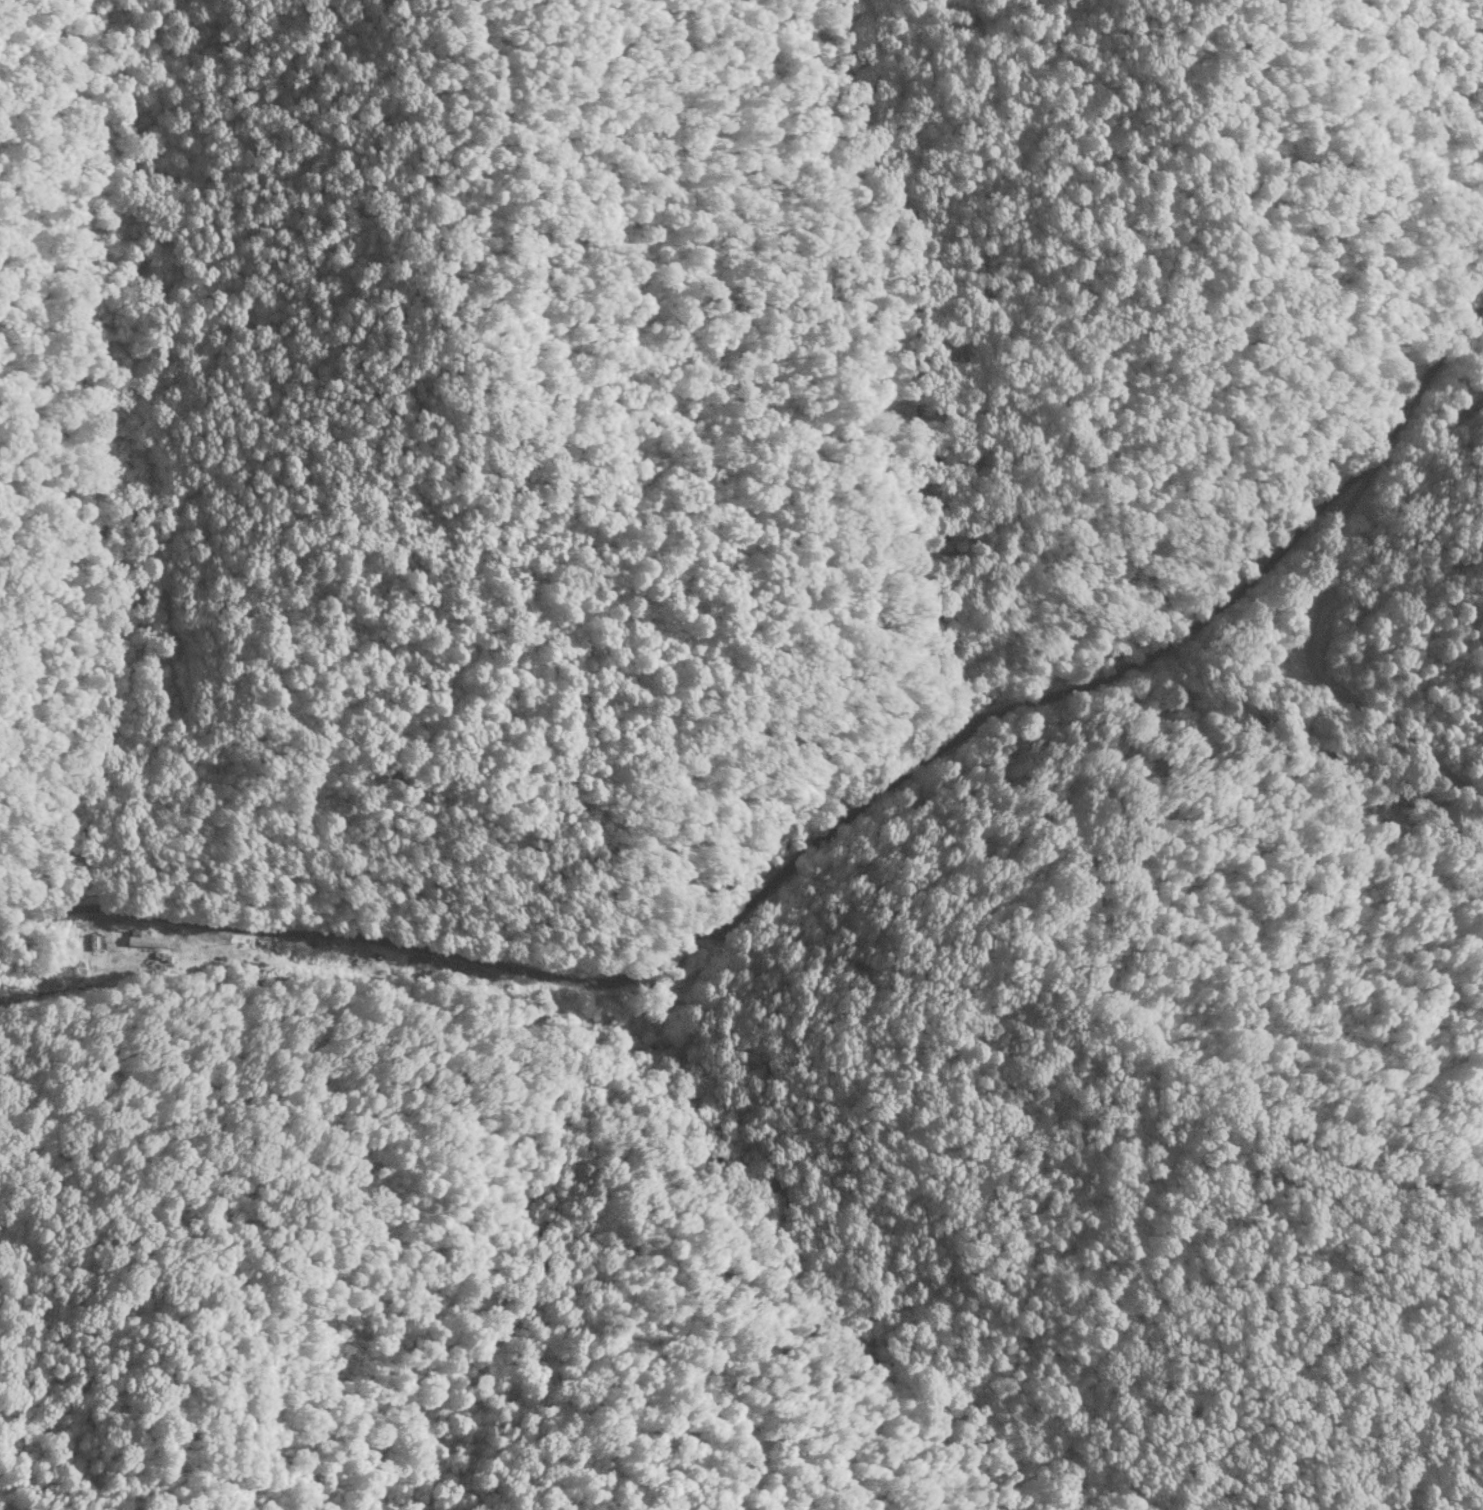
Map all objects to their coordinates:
road: (836, 919)

